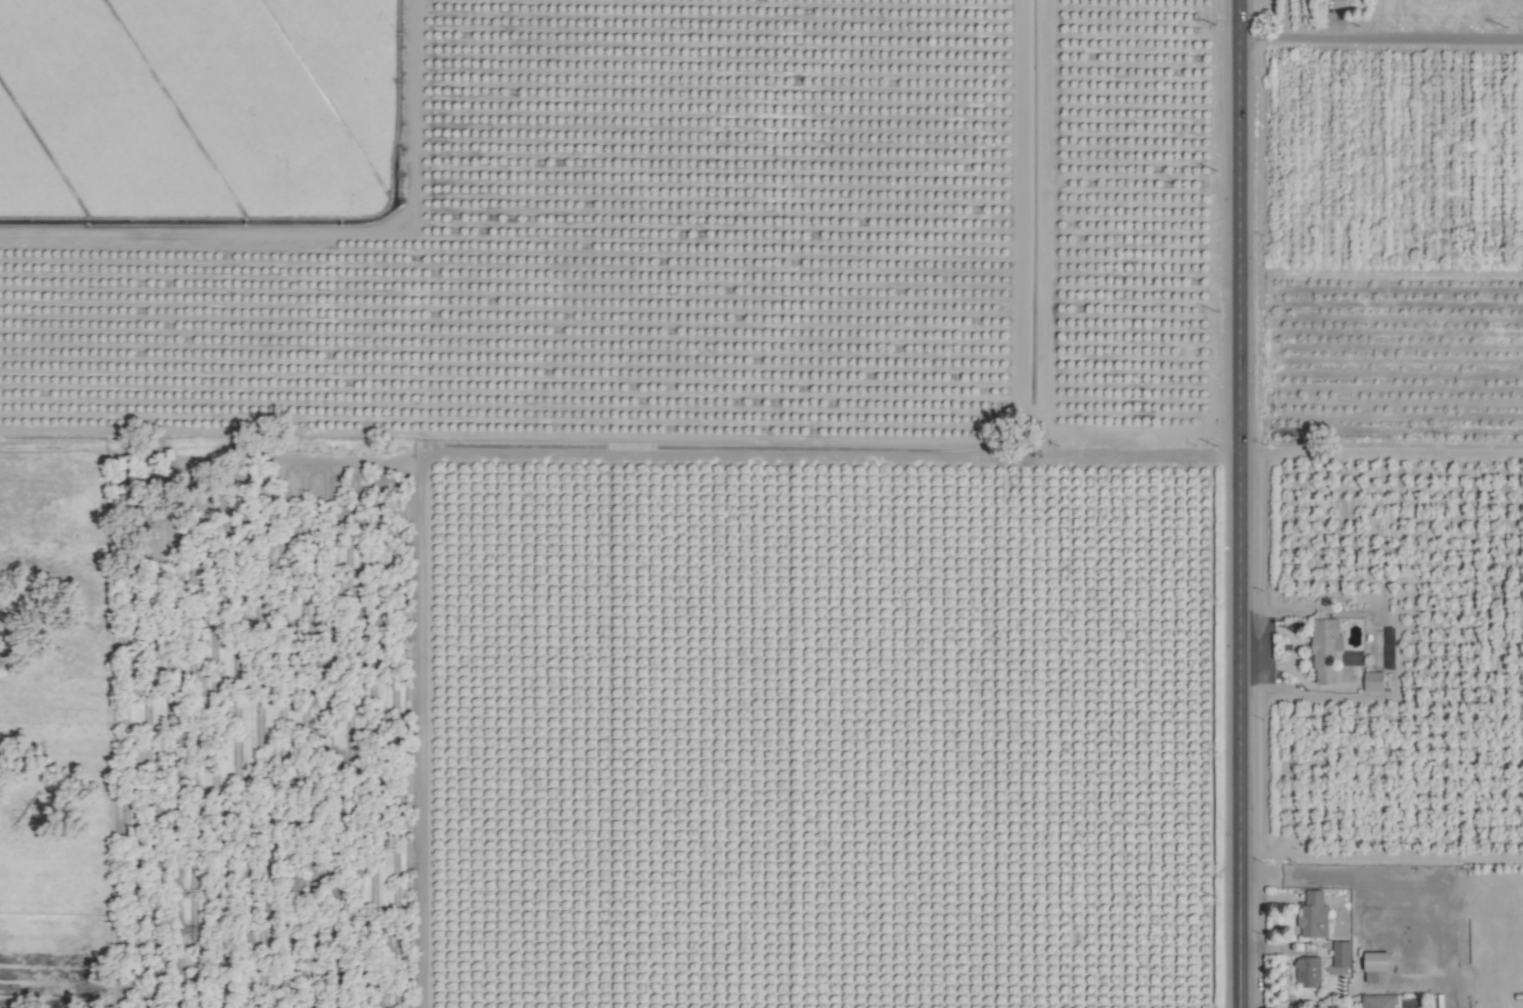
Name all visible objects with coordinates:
crop: (1391, 12)
road: (1380, 37)
road: (1238, 407)
road: (1380, 452)
crop: (761, 504)
building: (1327, 649)
building: (1374, 681)
road: (1390, 885)
road: (1239, 911)
building: (1315, 915)
building: (1342, 953)
building: (1378, 963)
building: (1309, 973)
building: (1378, 1001)

